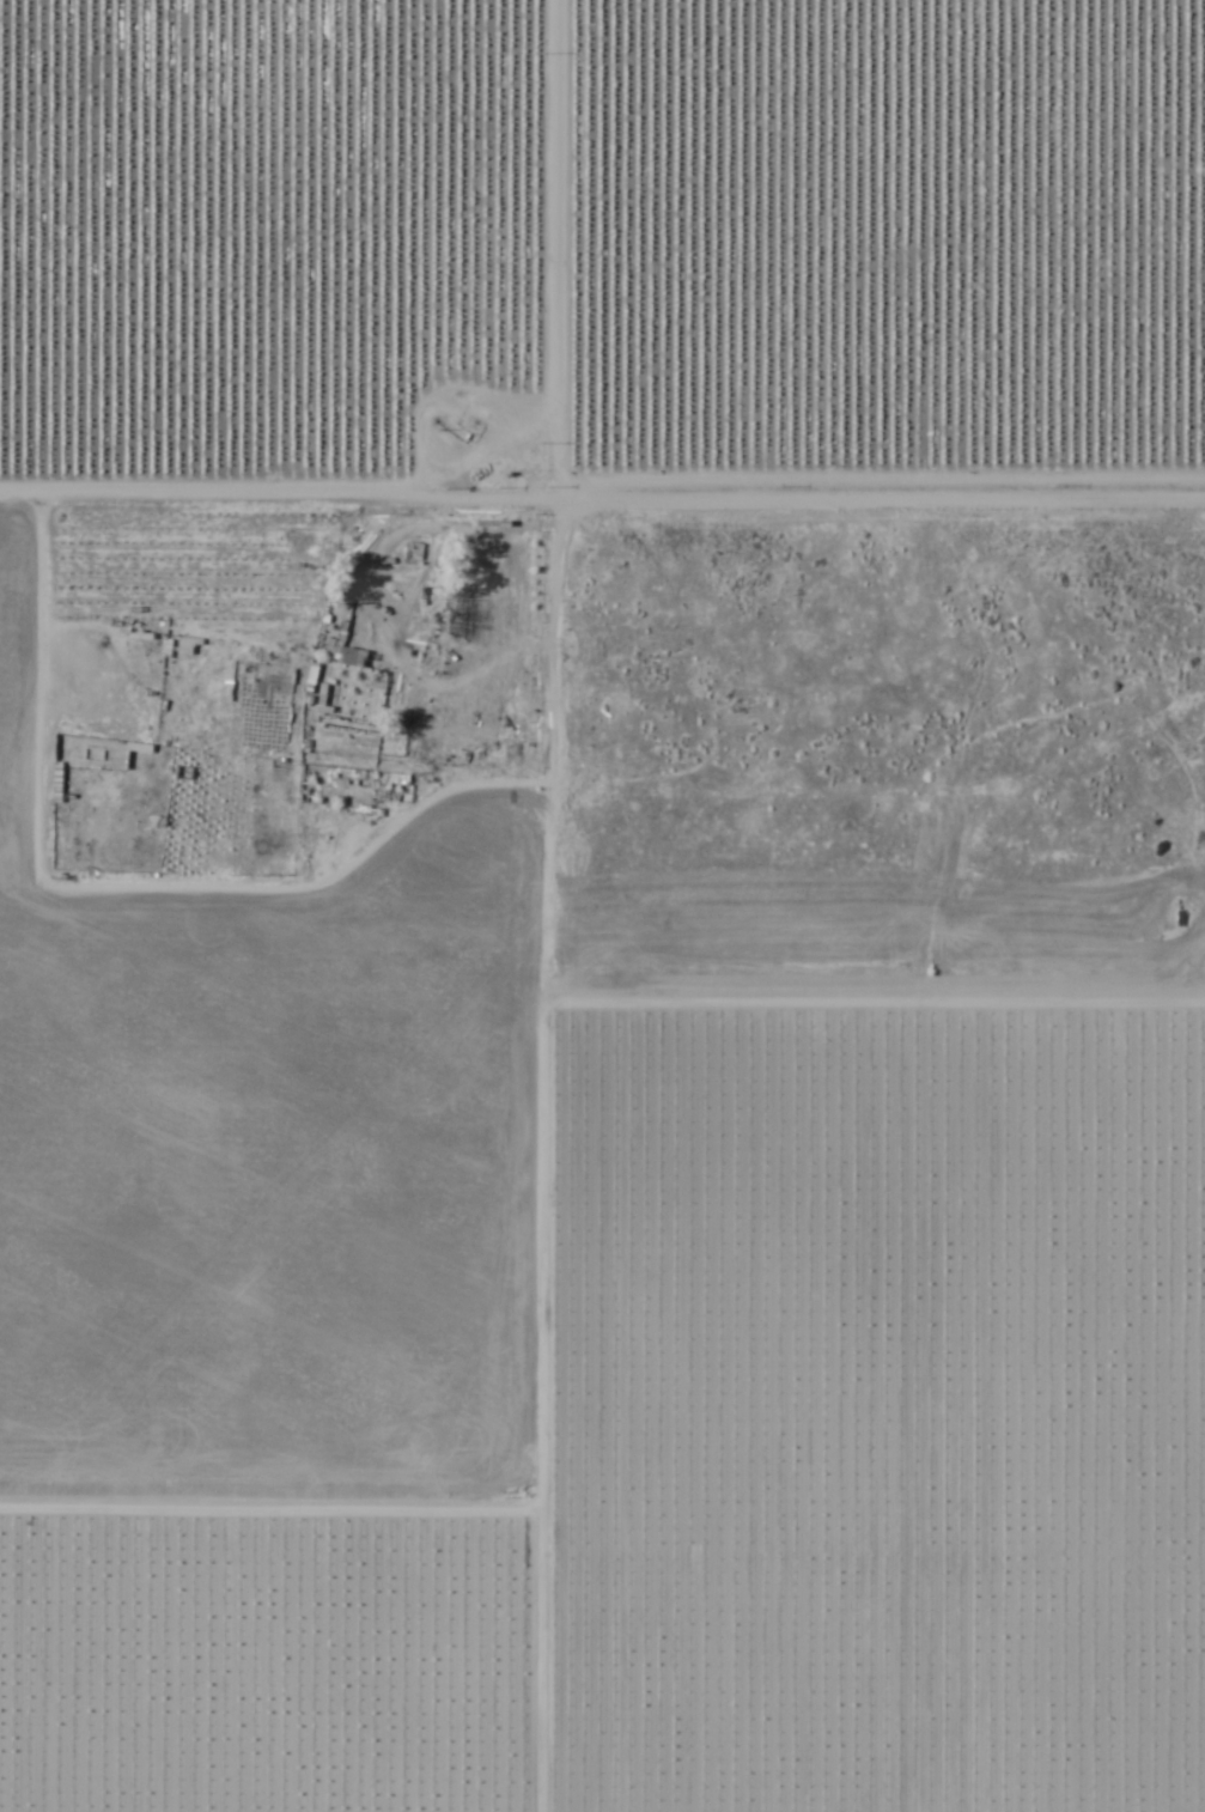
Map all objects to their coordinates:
road: (552, 244)
road: (585, 491)
building: (412, 555)
building: (465, 620)
building: (342, 651)

